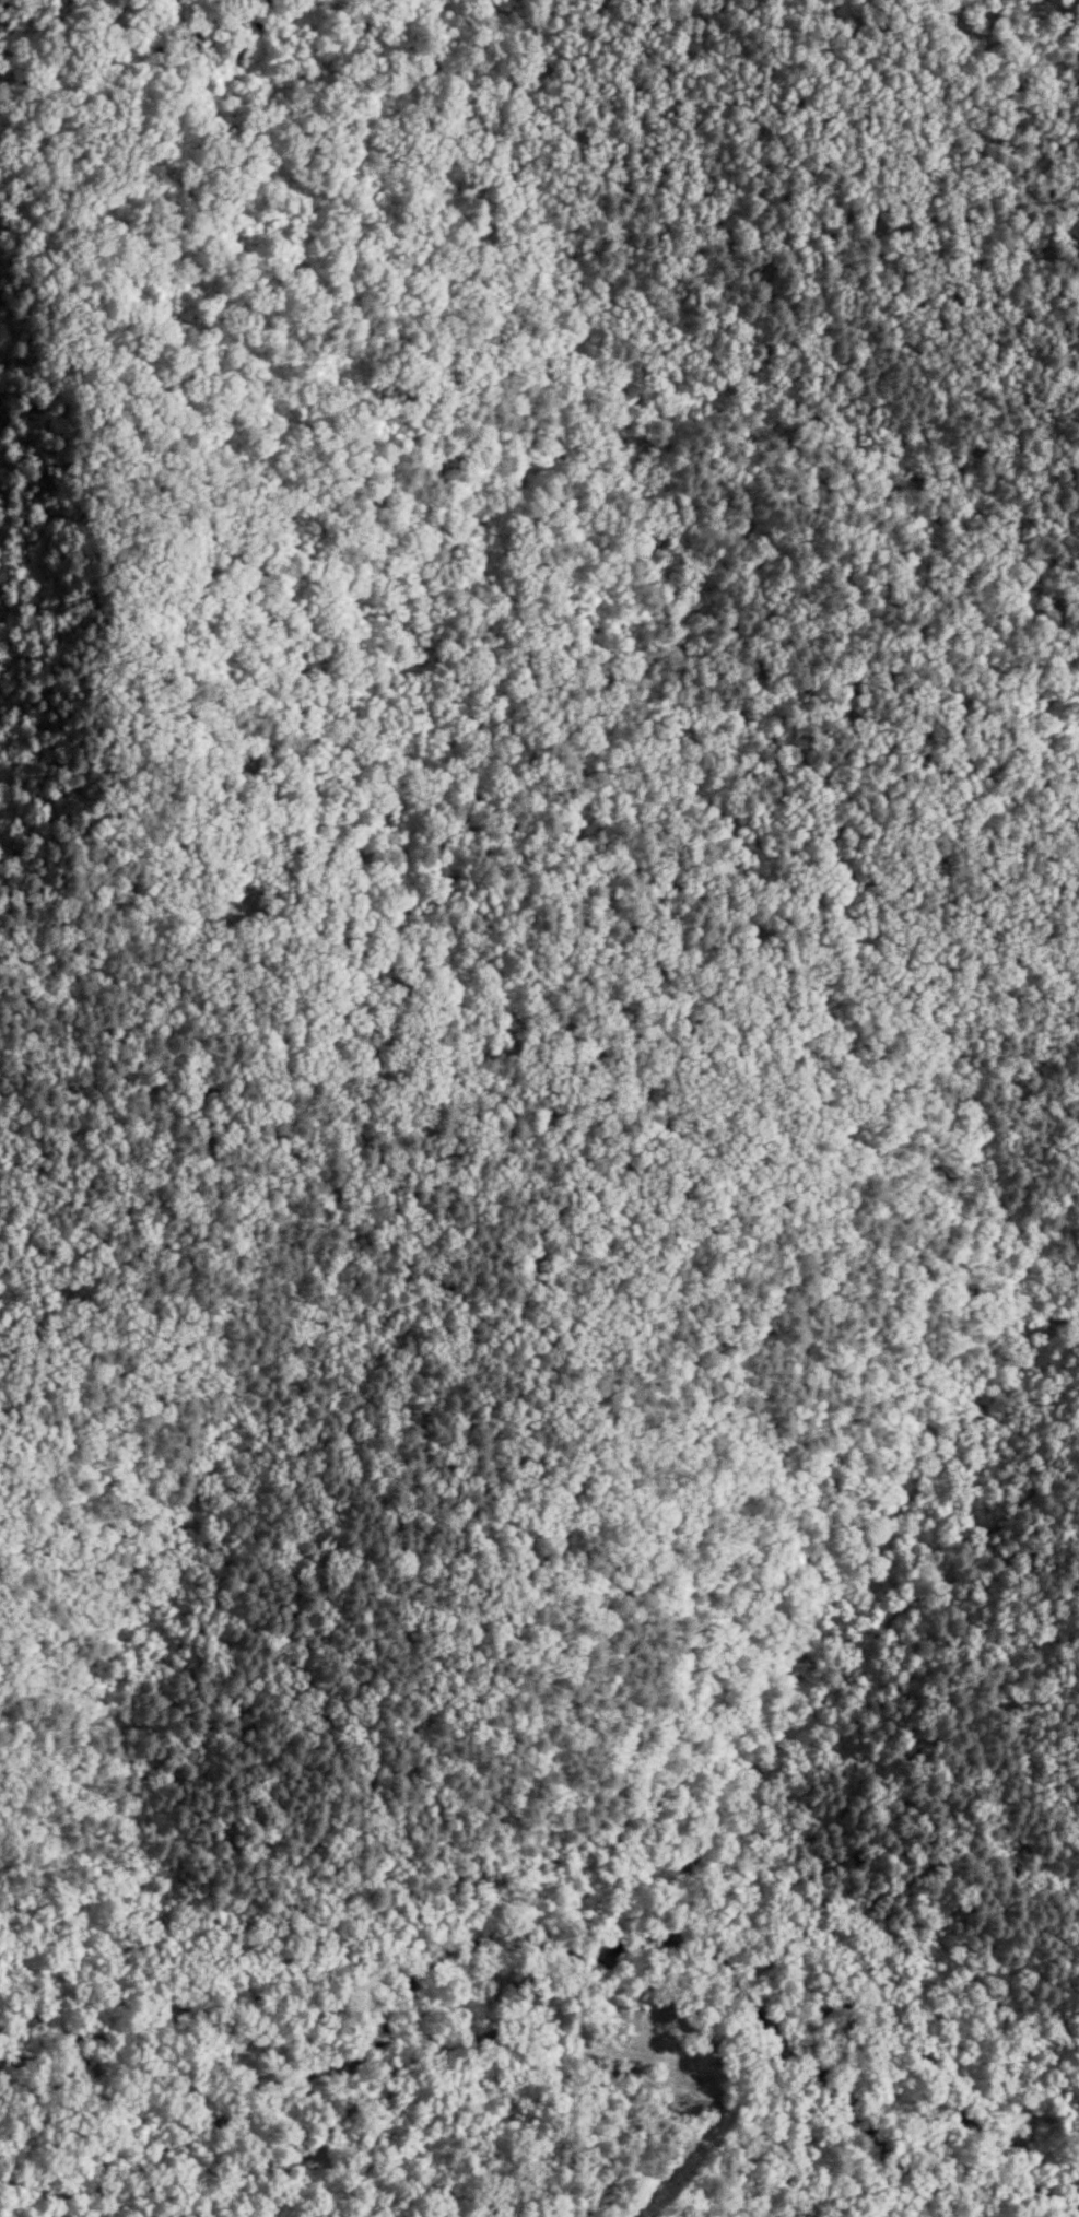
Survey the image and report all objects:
road: (337, 2168)
road: (75, 2190)

